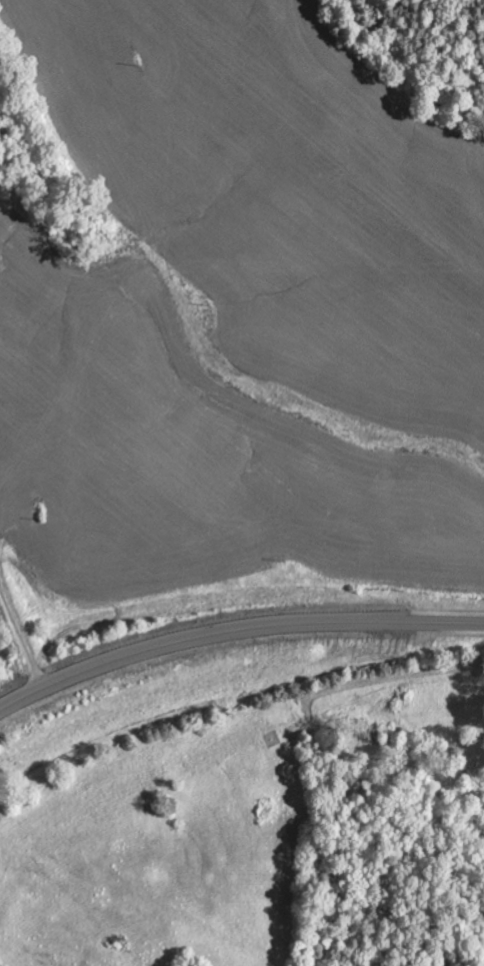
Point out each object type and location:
road: (234, 632)

